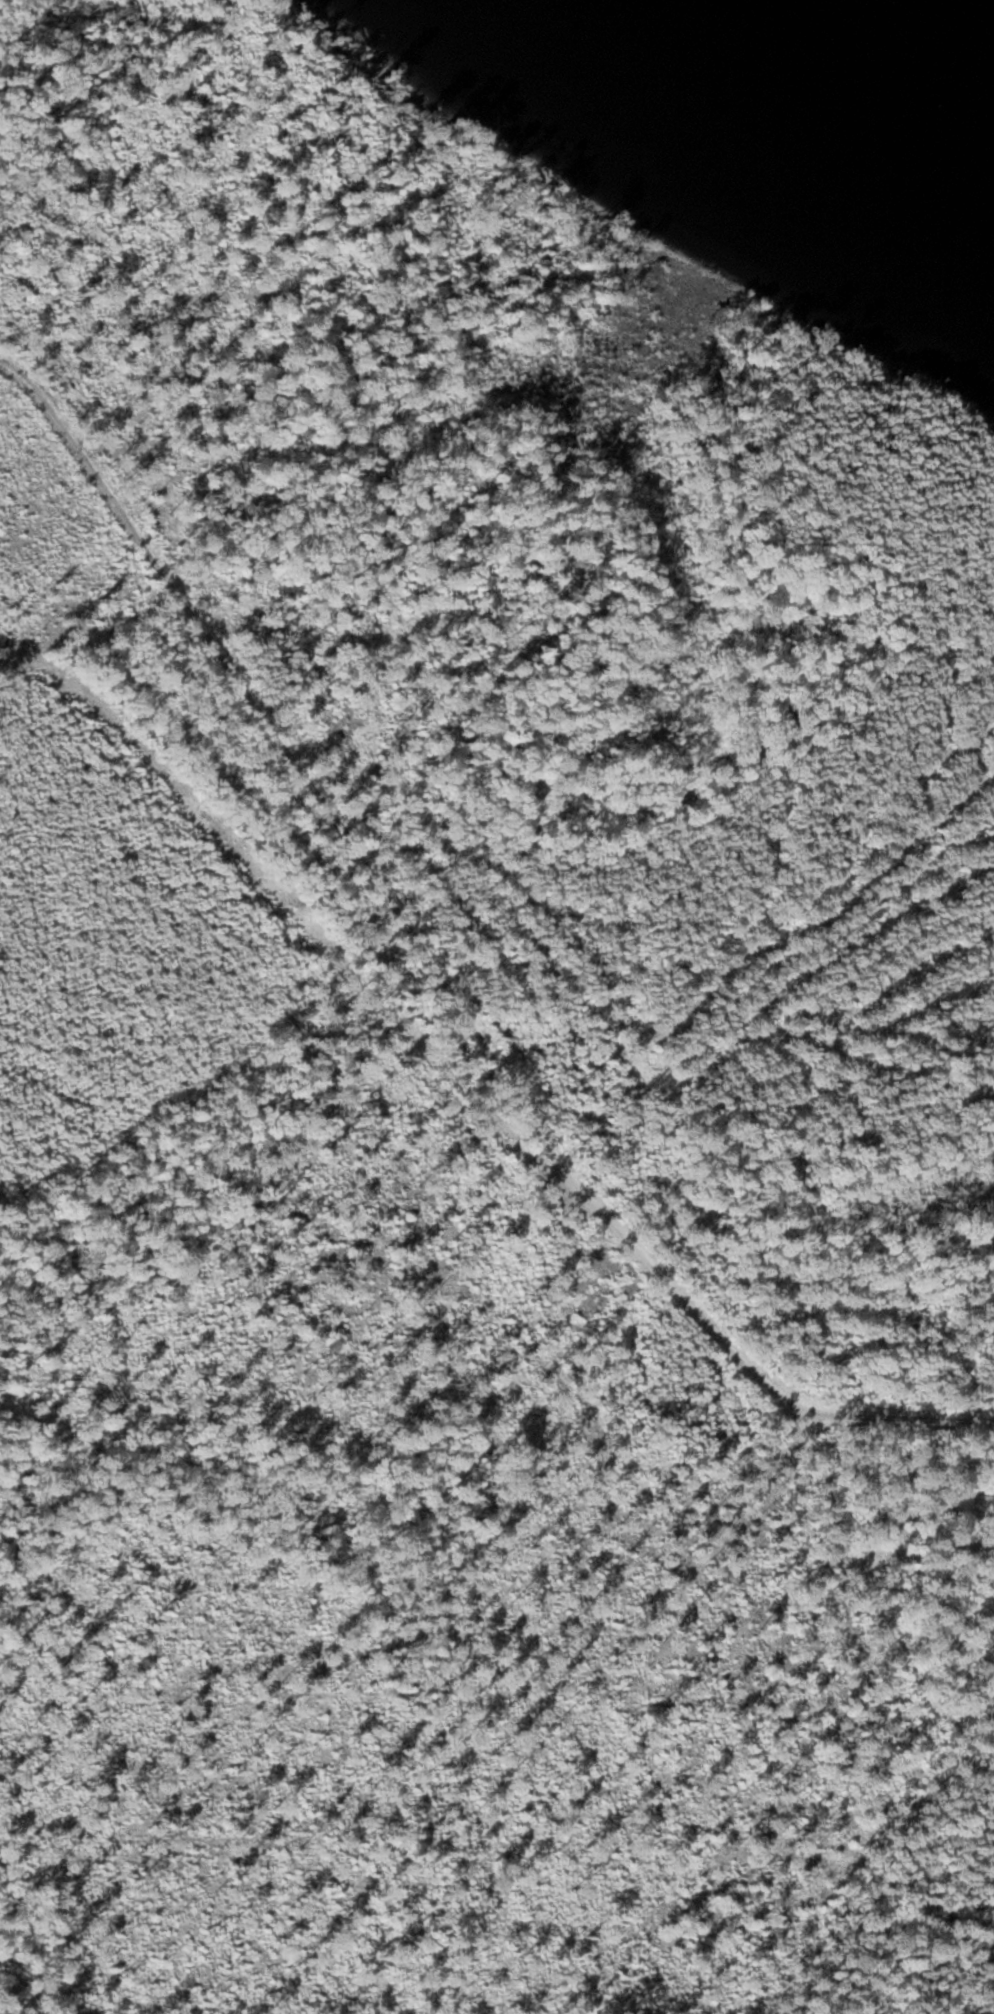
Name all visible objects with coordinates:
road: (431, 1015)

